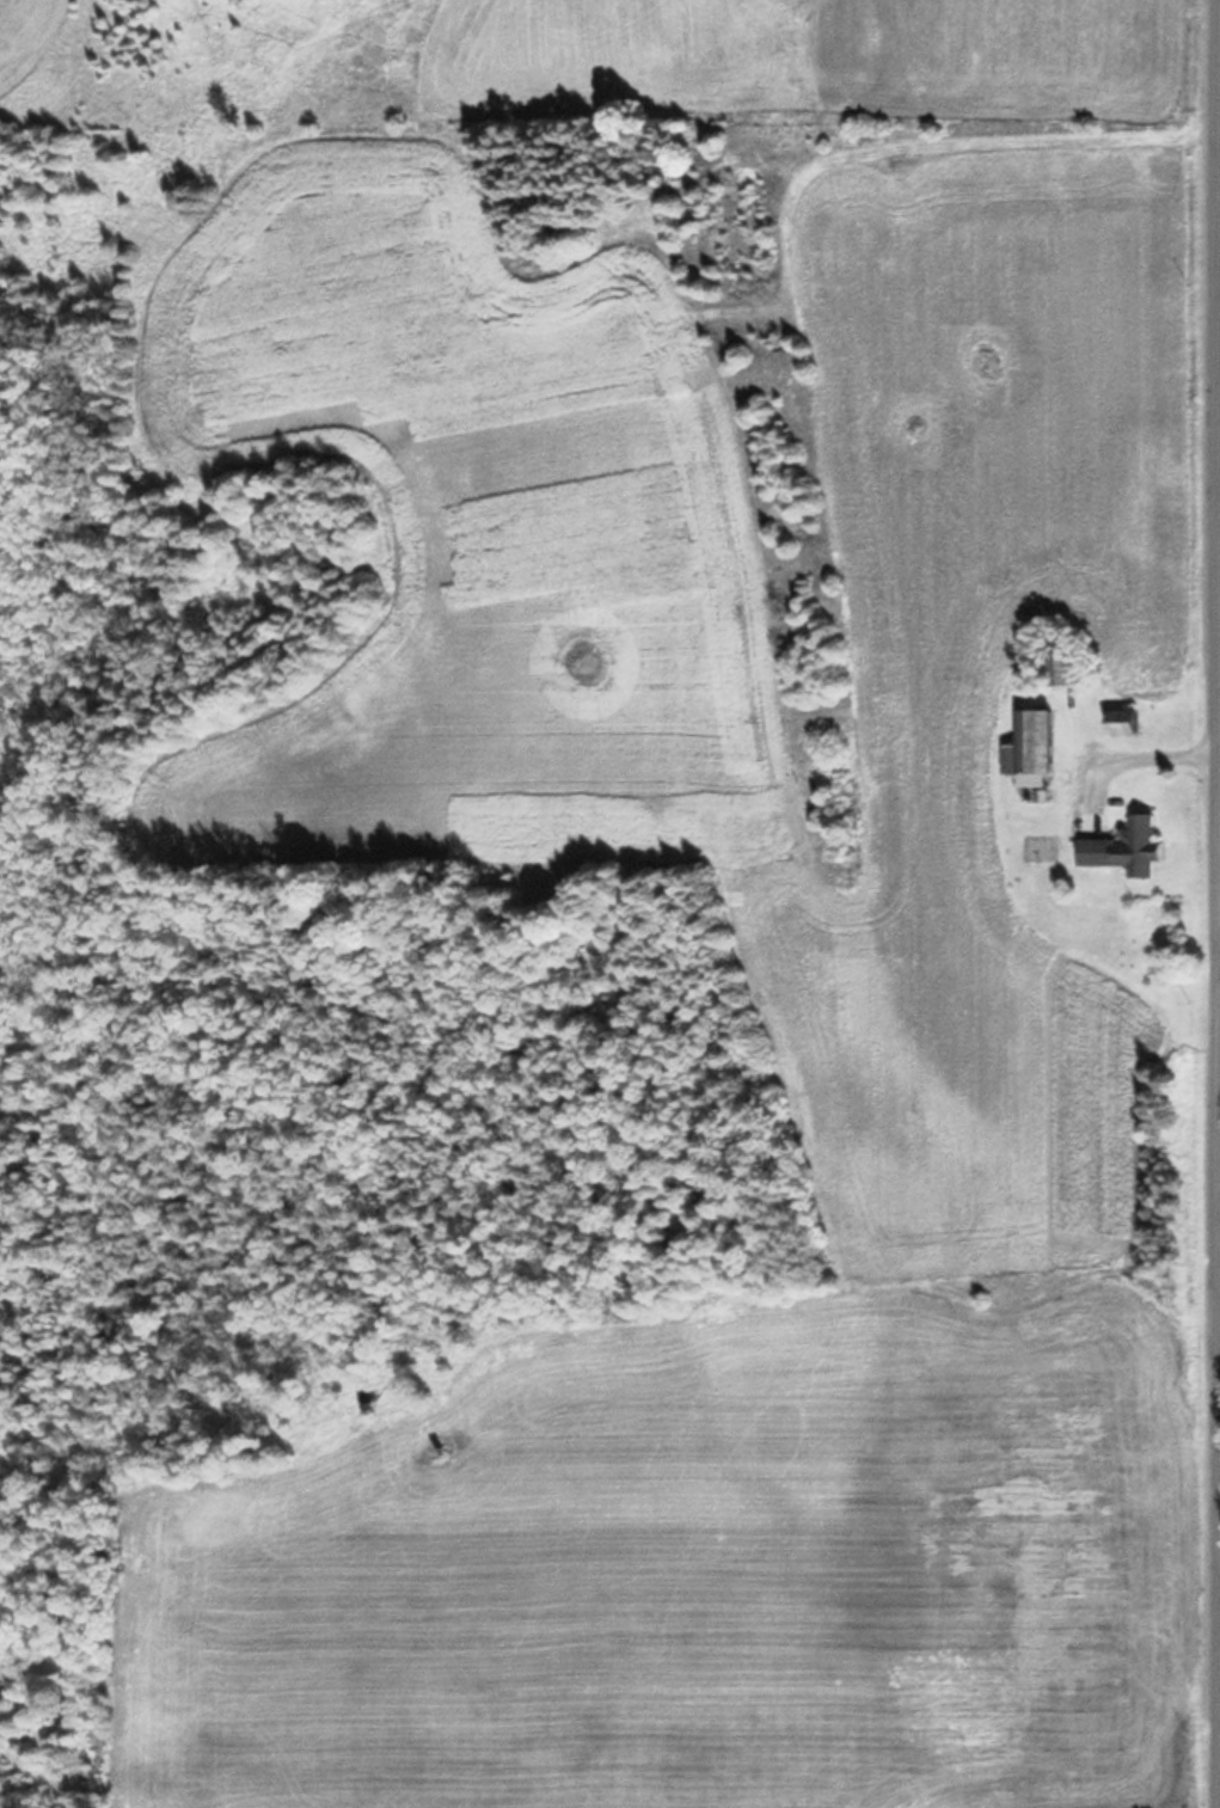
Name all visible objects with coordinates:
road: (1219, 482)
building: (1063, 667)
building: (1124, 722)
building: (1031, 743)
building: (1126, 847)

